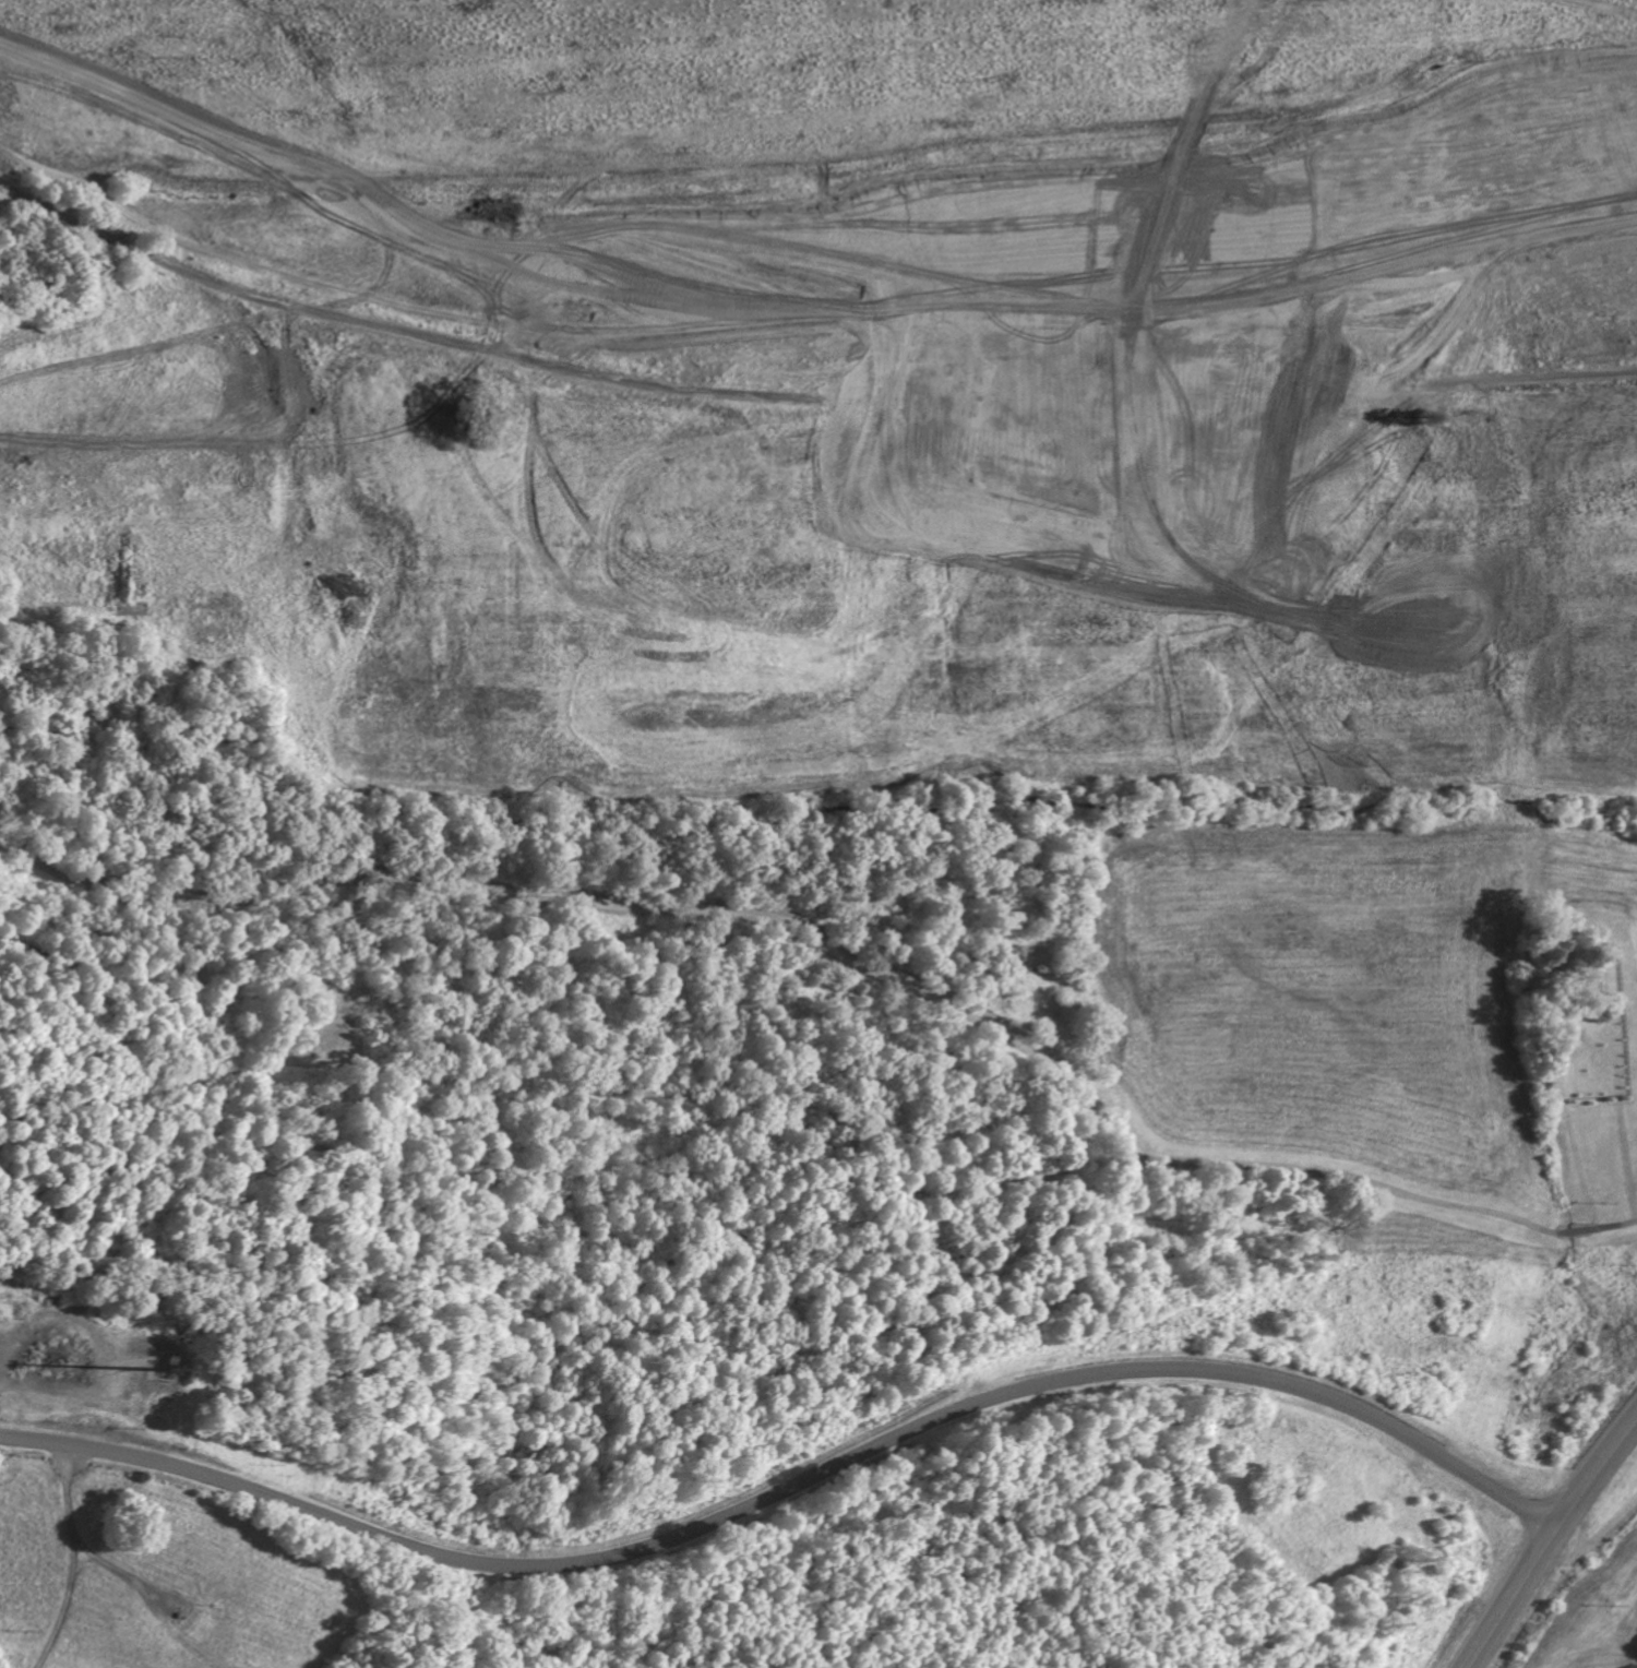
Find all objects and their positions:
road: (801, 400)
road: (856, 1452)
road: (73, 1560)
road: (1504, 1596)

